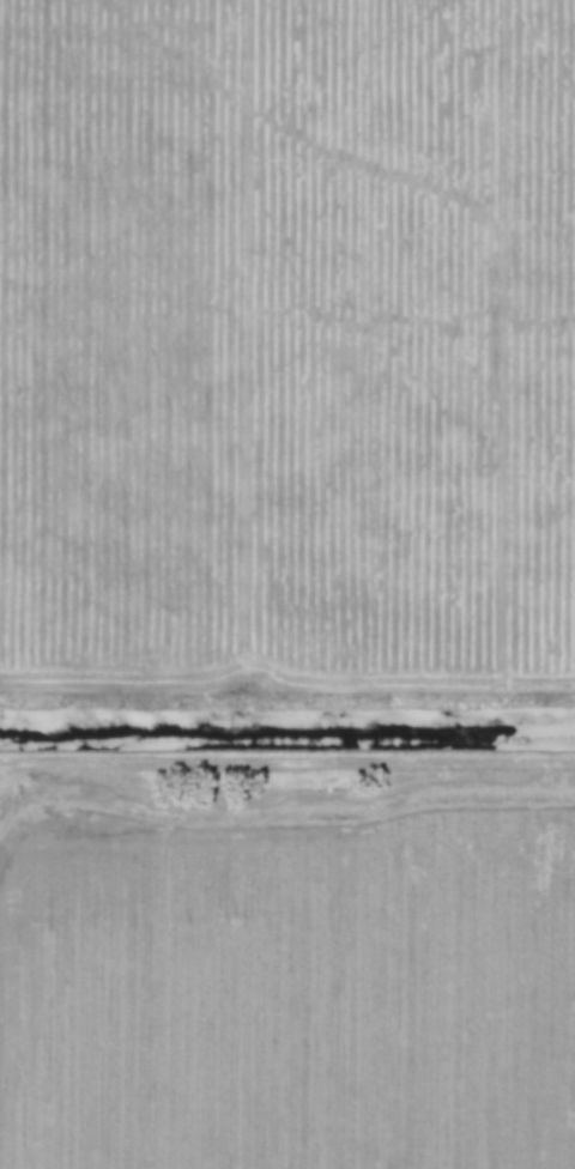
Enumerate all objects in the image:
crop: (286, 983)

